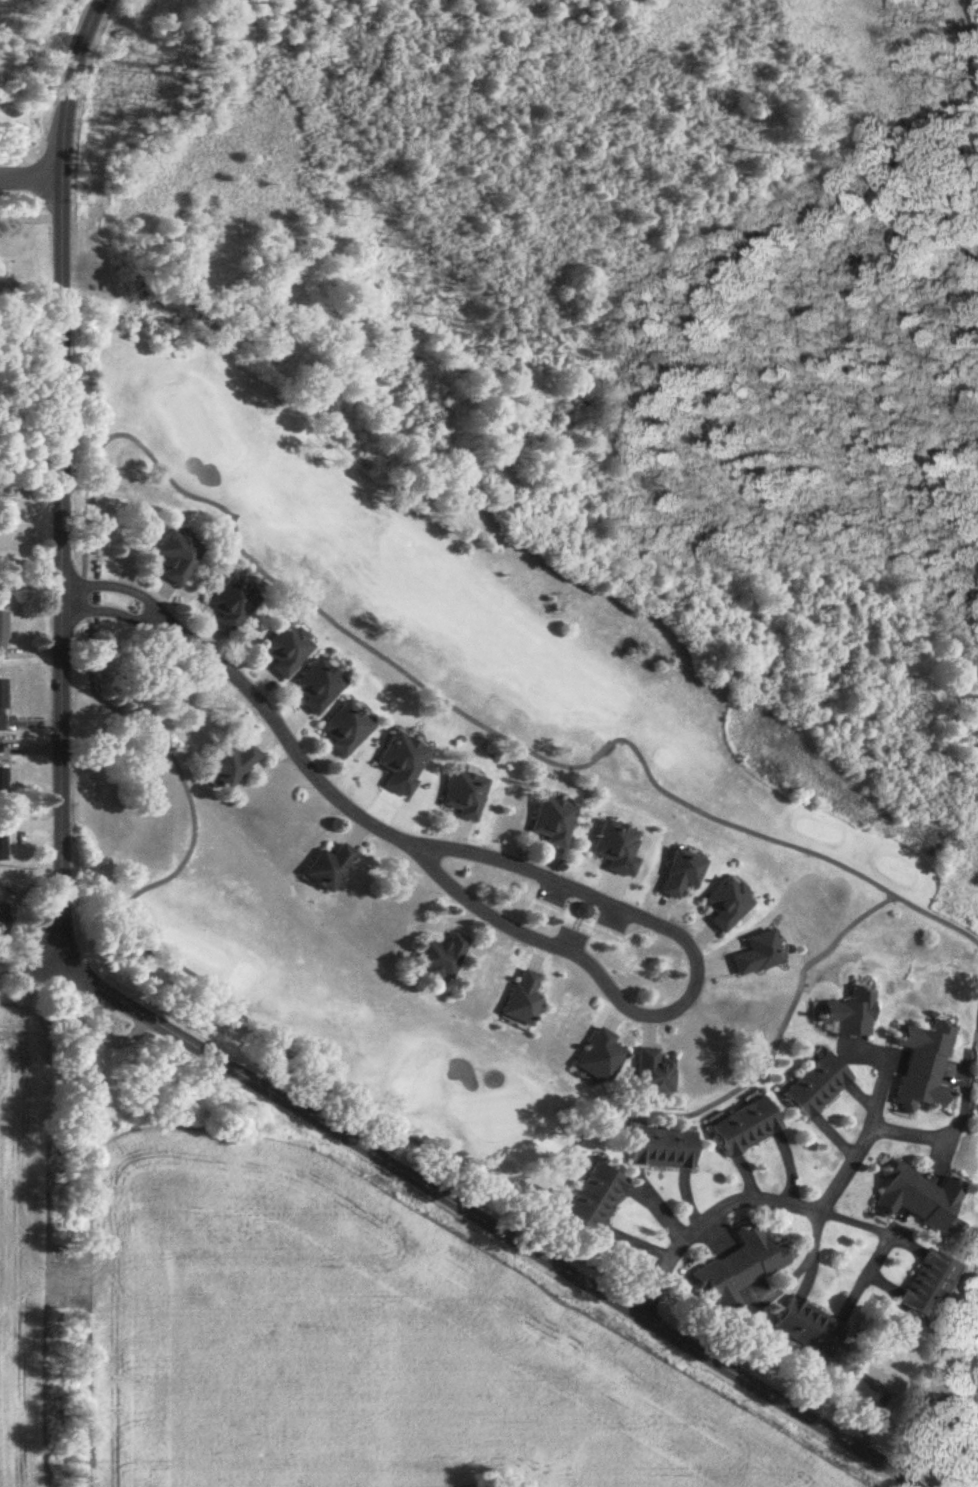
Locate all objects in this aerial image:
road: (34, 175)
road: (33, 215)
road: (63, 482)
building: (178, 558)
building: (232, 605)
building: (3, 635)
building: (286, 652)
building: (318, 688)
building: (3, 706)
building: (346, 731)
building: (233, 766)
park: (469, 779)
building: (3, 782)
building: (464, 796)
building: (553, 823)
building: (3, 847)
building: (331, 869)
building: (682, 875)
building: (727, 906)
building: (4, 919)
road: (503, 926)
building: (442, 960)
road: (29, 972)
building: (523, 1001)
building: (851, 1015)
building: (600, 1057)
building: (924, 1068)
building: (655, 1073)
building: (818, 1086)
building: (746, 1127)
road: (918, 1133)
road: (855, 1137)
building: (664, 1148)
building: (596, 1197)
road: (745, 1197)
building: (919, 1199)
road: (490, 1226)
crop: (14, 1244)
road: (805, 1248)
building: (740, 1267)
building: (931, 1286)
building: (810, 1328)
building: (885, 1376)
building: (954, 1383)

